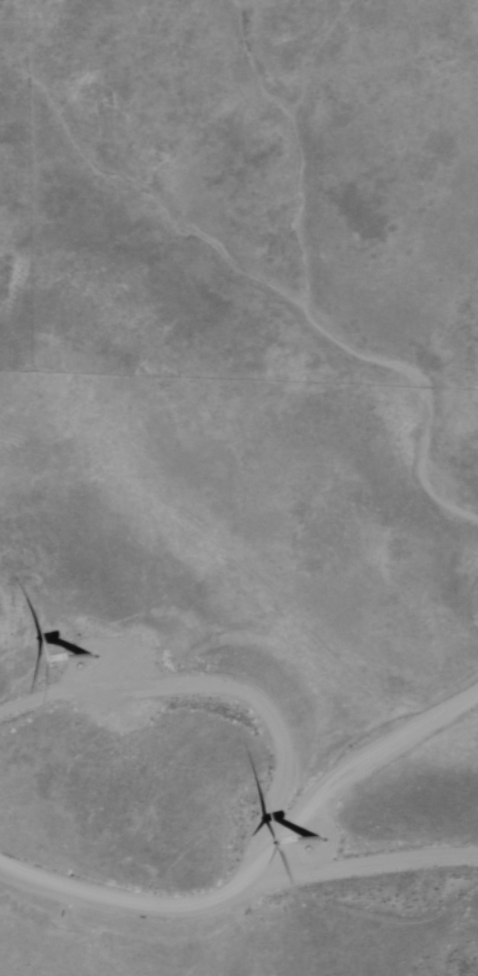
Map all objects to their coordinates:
road: (474, 596)
wind turbine: (84, 646)
wind turbine: (325, 834)
road: (268, 867)

